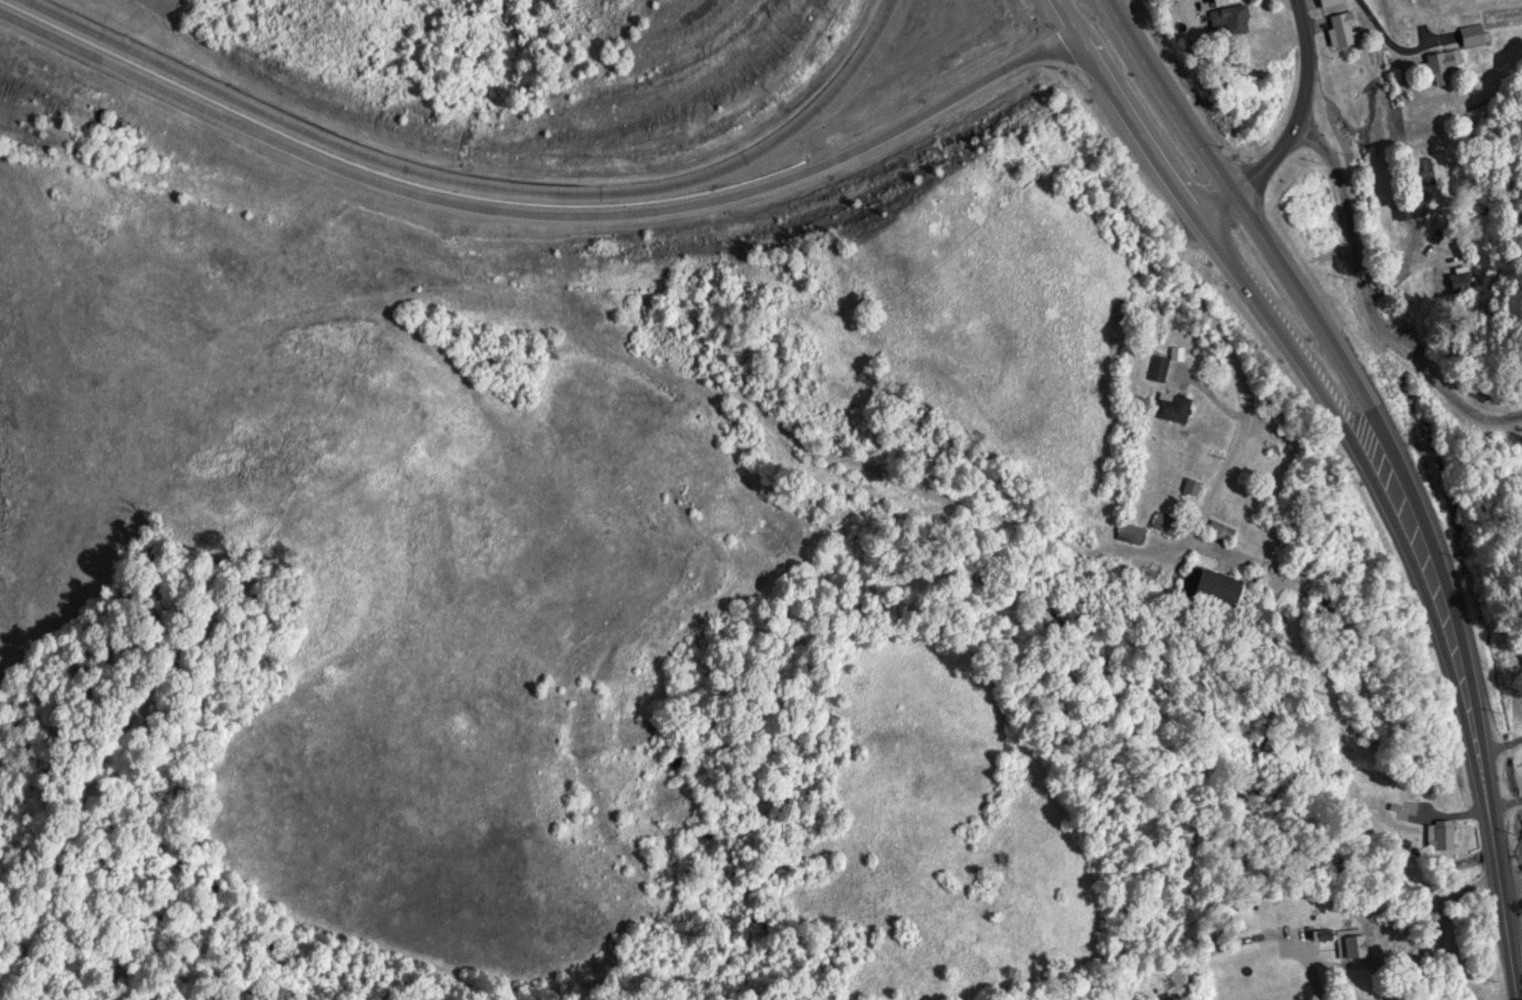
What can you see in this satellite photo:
building: (1327, 1)
road: (1066, 14)
building: (1221, 16)
building: (1341, 27)
building: (1471, 34)
building: (1266, 39)
road: (1395, 43)
building: (1439, 63)
road: (1134, 127)
road: (1290, 129)
building: (1422, 170)
road: (493, 182)
building: (1402, 209)
road: (539, 225)
road: (1368, 304)
building: (1154, 366)
road: (1365, 399)
building: (1170, 406)
building: (1190, 486)
road: (1391, 515)
building: (1218, 530)
building: (1211, 585)
building: (1520, 655)
building: (1444, 834)
road: (1506, 925)
building: (1348, 946)

